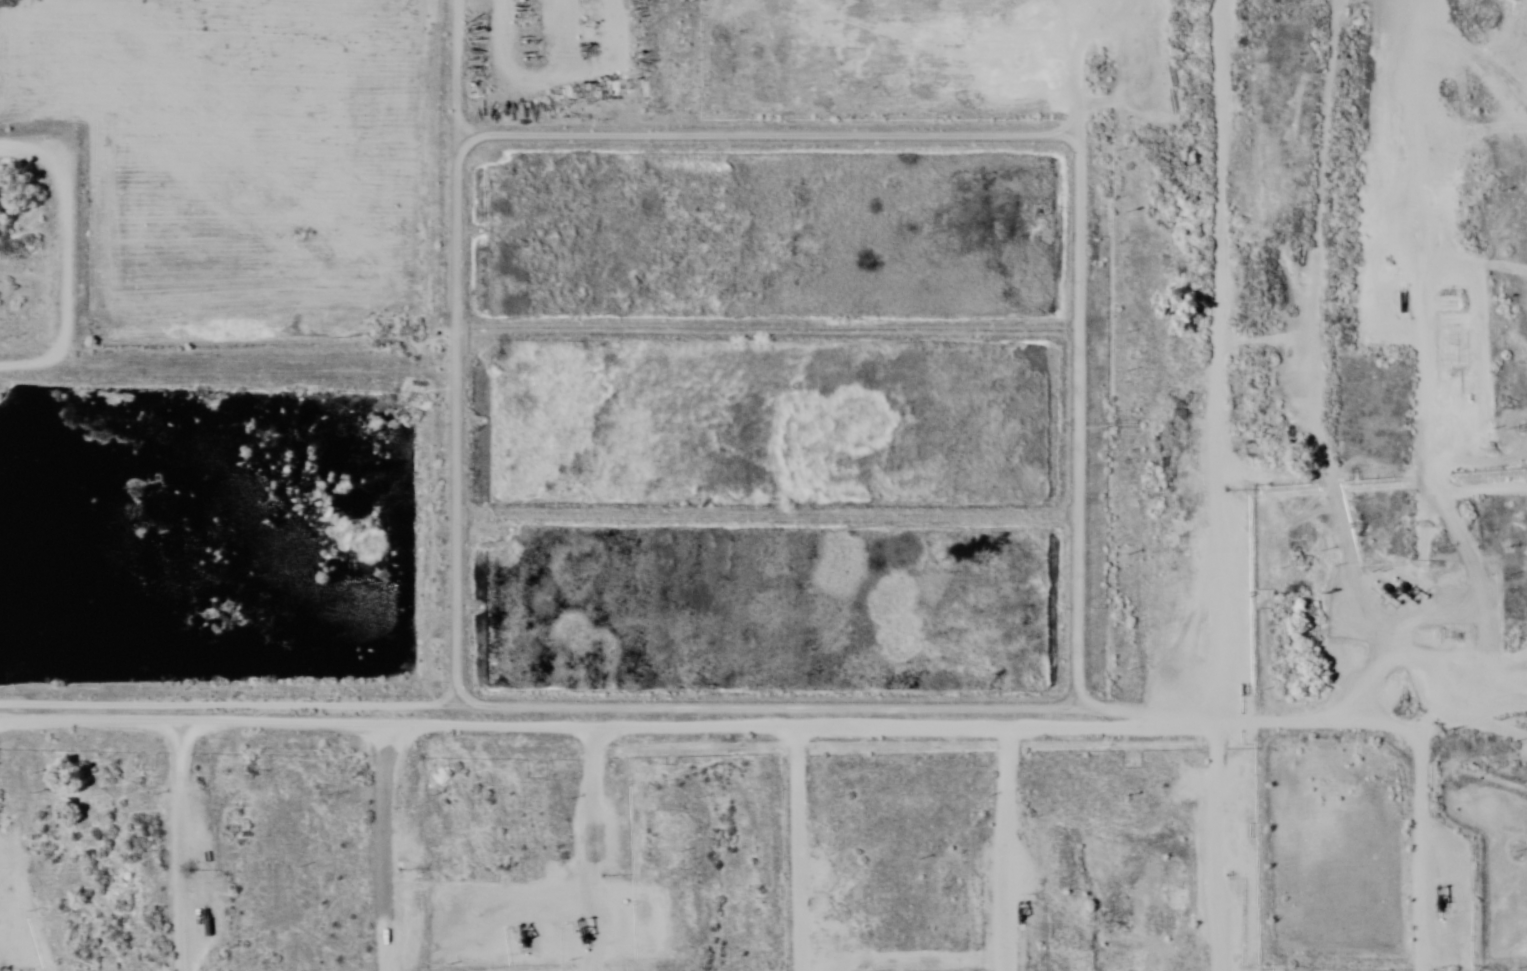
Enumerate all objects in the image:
road: (48, 43)
road: (171, 290)
road: (521, 294)
road: (355, 485)
road: (788, 485)
road: (965, 485)
road: (1163, 485)
road: (1388, 485)
road: (763, 738)
road: (170, 851)
road: (593, 857)

